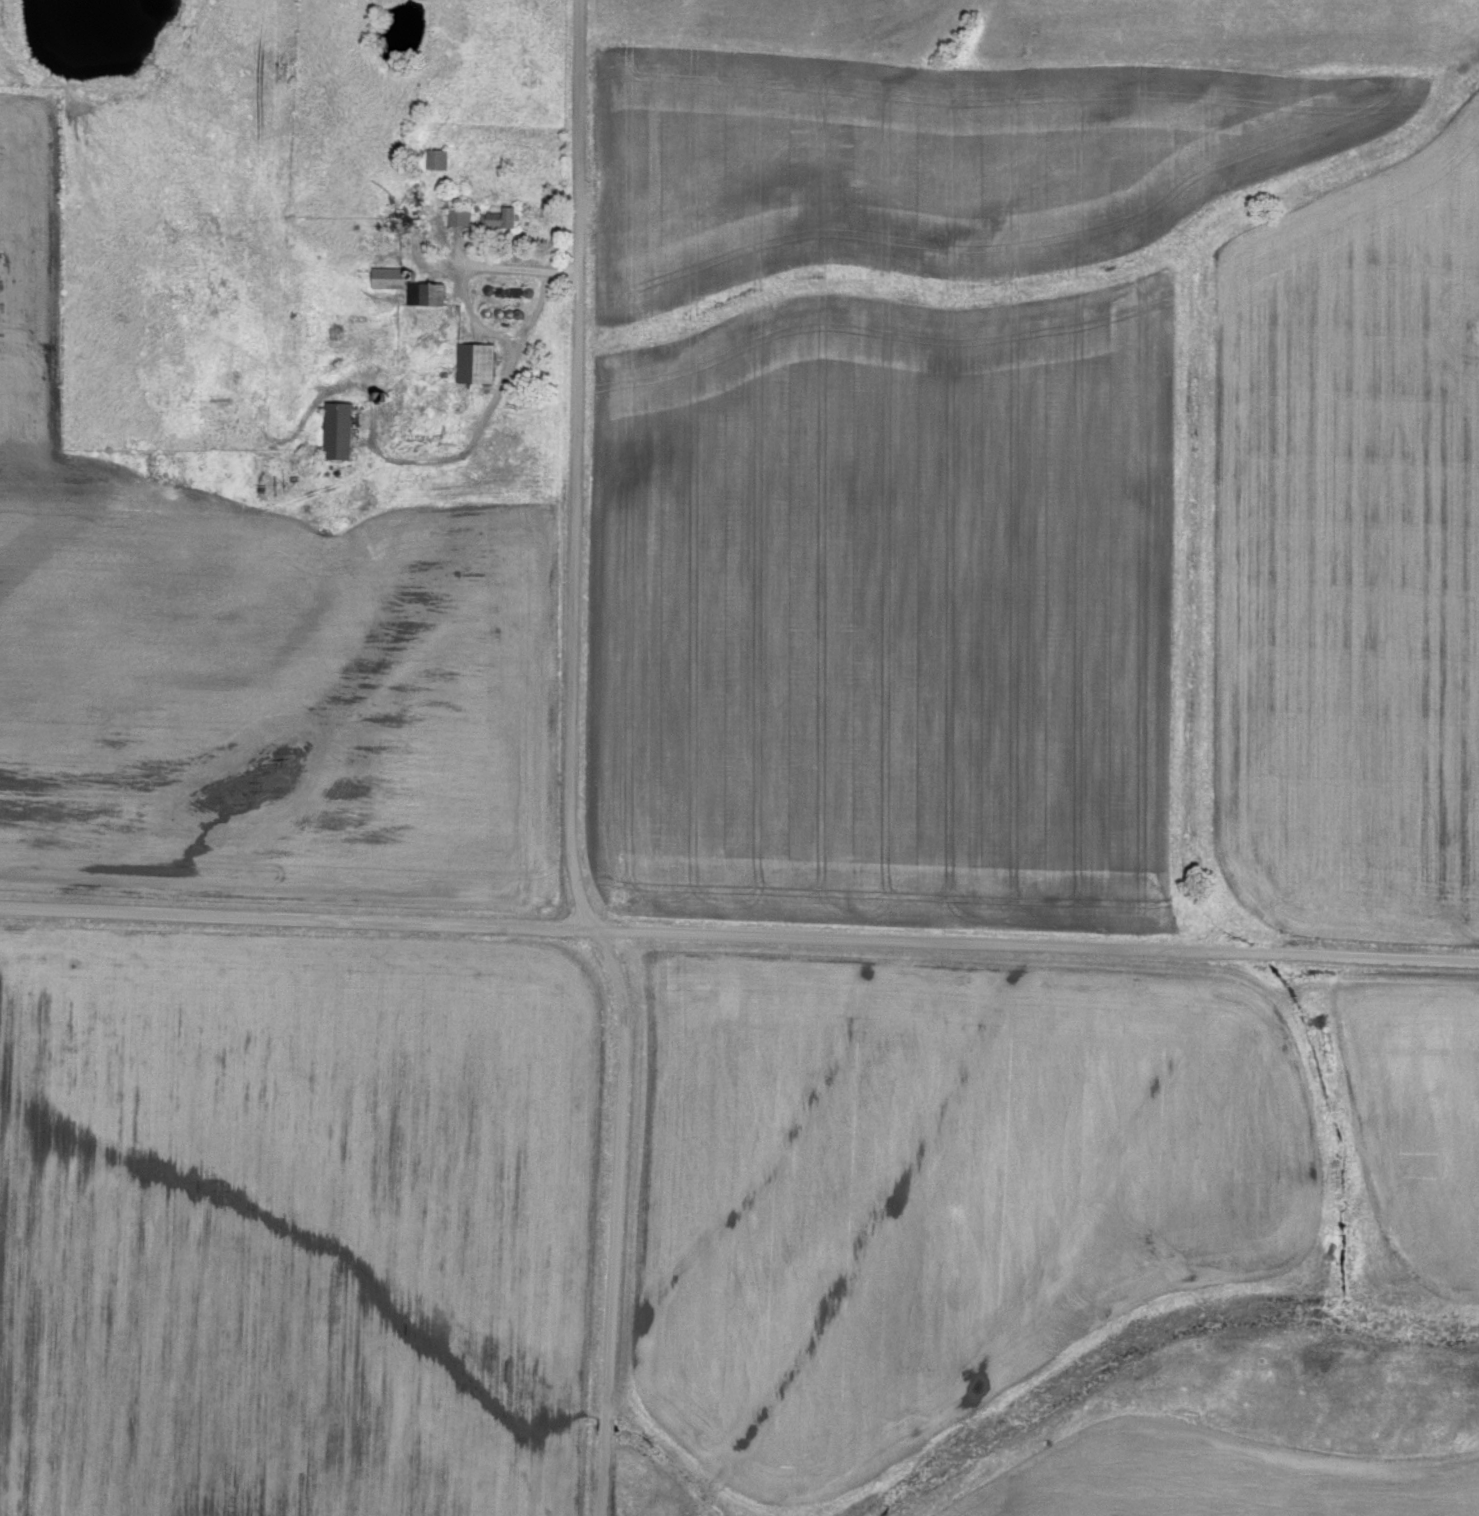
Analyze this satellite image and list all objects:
building: (438, 156)
building: (462, 214)
building: (502, 216)
road: (468, 268)
building: (414, 284)
building: (479, 361)
road: (484, 424)
building: (342, 428)
road: (571, 763)
road: (739, 933)

